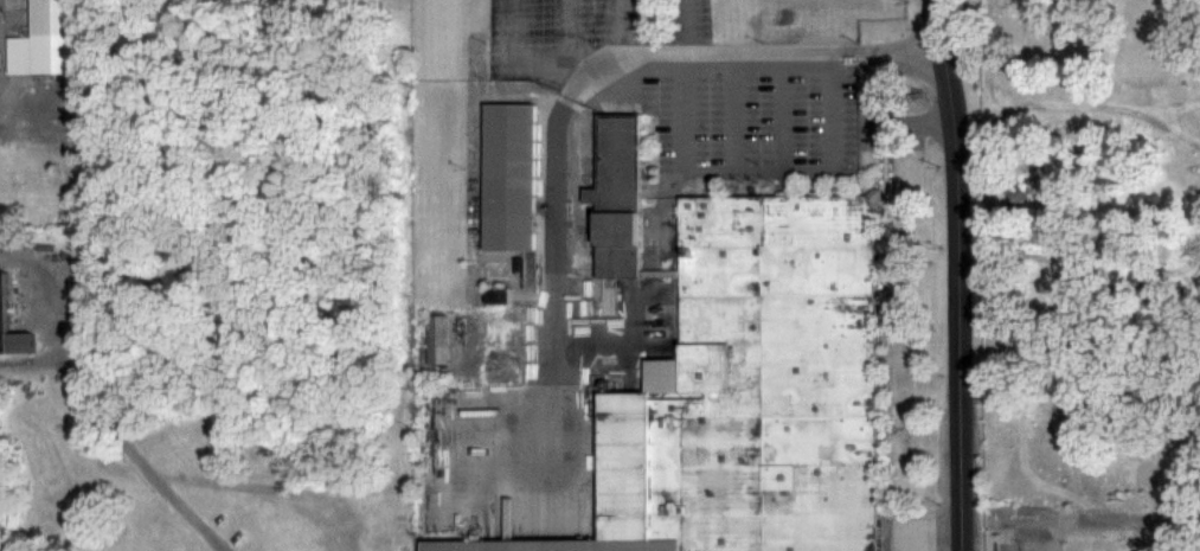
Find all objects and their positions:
road: (618, 28)
road: (563, 30)
building: (47, 39)
road: (898, 52)
road: (513, 55)
road: (704, 57)
road: (578, 64)
road: (778, 111)
road: (730, 113)
road: (726, 168)
building: (508, 177)
building: (614, 192)
road: (552, 216)
road: (955, 274)
building: (2, 302)
building: (745, 391)
road: (117, 438)

